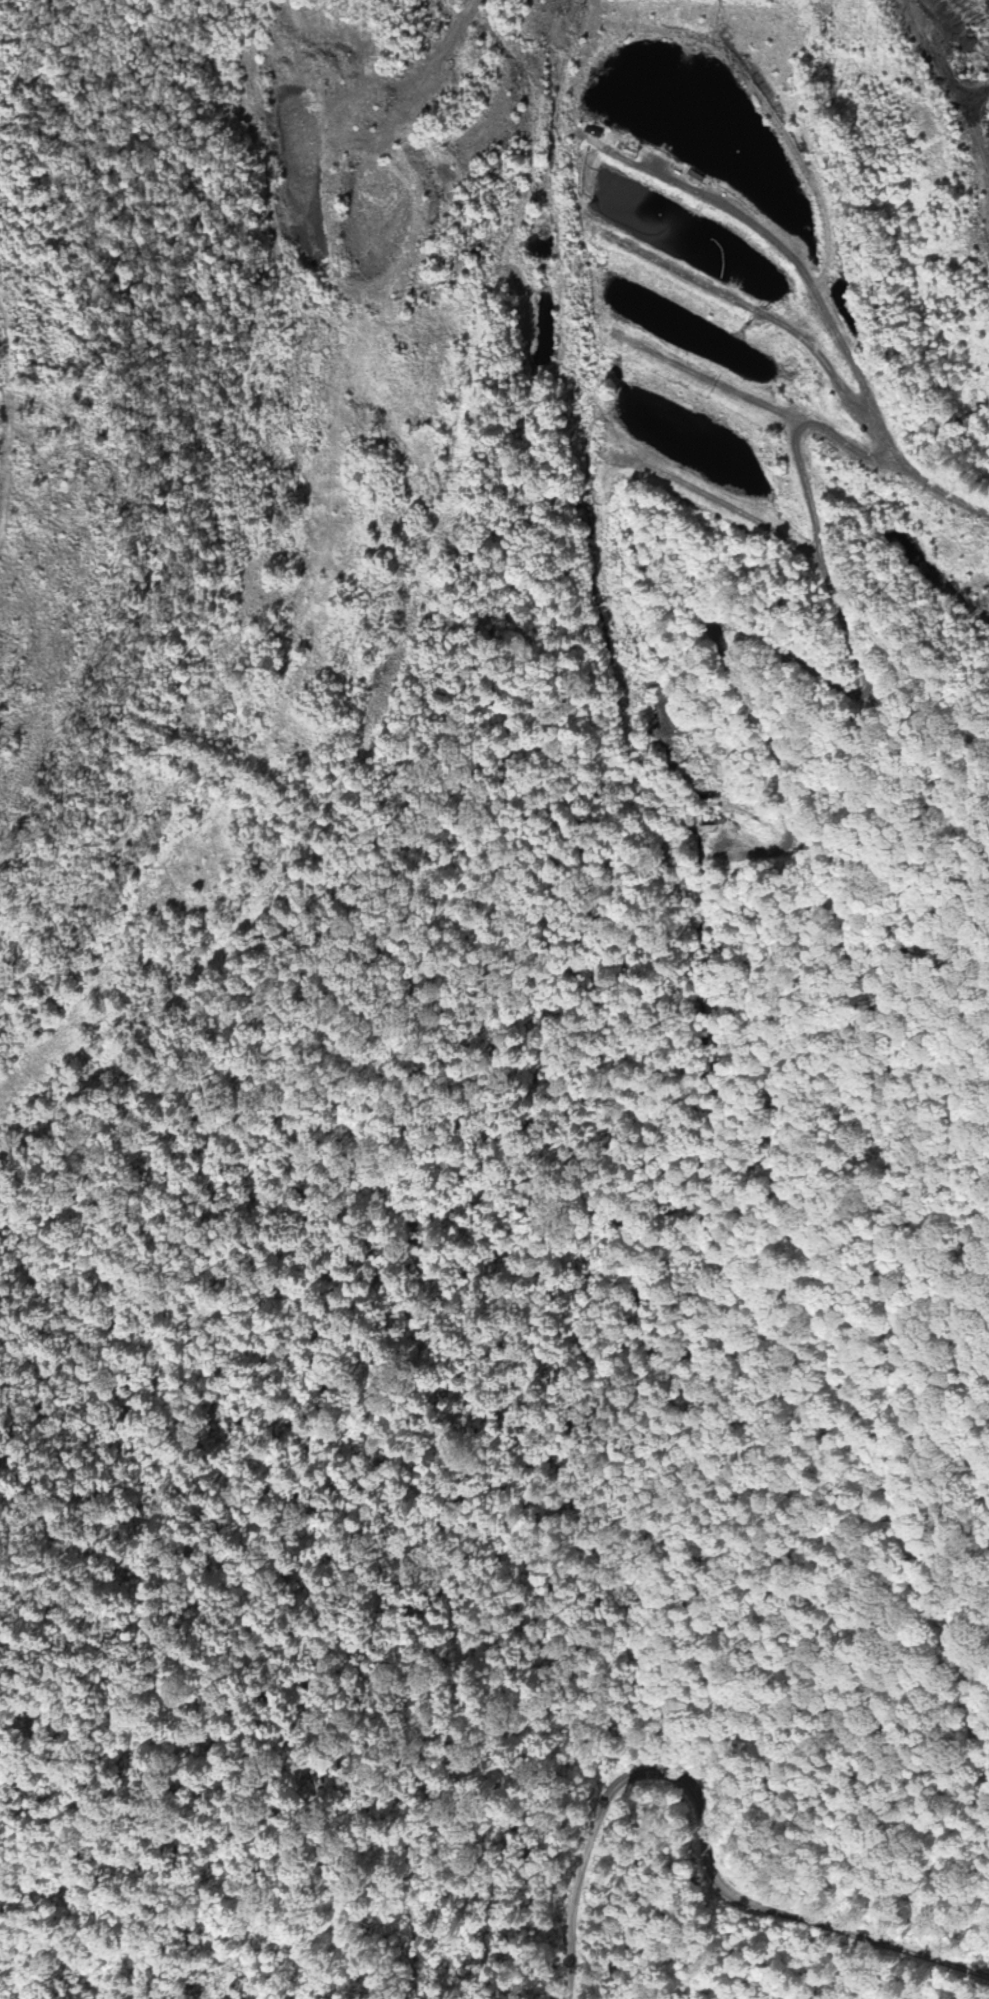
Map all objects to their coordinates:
road: (464, 678)

